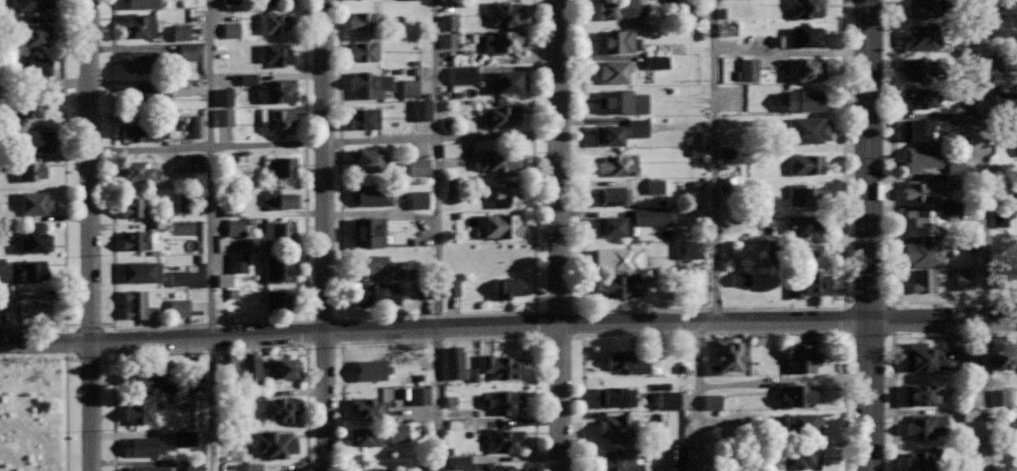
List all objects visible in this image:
building: (230, 1)
building: (142, 3)
building: (33, 4)
building: (807, 7)
building: (618, 8)
building: (925, 8)
building: (504, 12)
building: (364, 20)
building: (274, 21)
building: (138, 24)
building: (231, 30)
building: (726, 30)
building: (448, 31)
building: (180, 33)
building: (35, 34)
building: (805, 36)
building: (921, 37)
building: (620, 40)
building: (505, 41)
building: (364, 49)
building: (186, 51)
building: (275, 53)
building: (141, 60)
building: (657, 62)
building: (35, 67)
building: (803, 68)
building: (918, 68)
building: (616, 69)
building: (748, 69)
building: (462, 75)
building: (248, 80)
building: (509, 81)
building: (369, 84)
building: (178, 88)
building: (409, 88)
building: (276, 90)
building: (146, 96)
building: (223, 97)
building: (920, 97)
building: (622, 99)
building: (801, 99)
building: (29, 104)
building: (422, 110)
building: (502, 116)
building: (223, 117)
building: (364, 117)
building: (962, 118)
building: (277, 119)
building: (196, 126)
building: (637, 128)
building: (807, 128)
building: (923, 128)
building: (142, 131)
building: (609, 133)
building: (36, 140)
road: (323, 143)
building: (1016, 147)
building: (450, 151)
road: (532, 156)
building: (922, 157)
road: (339, 159)
building: (370, 159)
building: (495, 159)
road: (304, 160)
road: (715, 160)
road: (111, 161)
building: (194, 163)
building: (806, 163)
building: (621, 164)
building: (282, 165)
building: (29, 169)
building: (417, 169)
building: (138, 170)
building: (450, 185)
building: (655, 187)
building: (923, 189)
building: (505, 192)
road: (63, 194)
building: (375, 194)
building: (807, 194)
building: (613, 195)
building: (285, 200)
building: (418, 200)
building: (34, 201)
building: (135, 206)
building: (950, 207)
road: (890, 213)
building: (651, 218)
building: (1000, 221)
building: (924, 222)
building: (502, 224)
building: (806, 225)
building: (614, 226)
building: (234, 228)
building: (279, 231)
building: (370, 231)
road: (88, 235)
road: (211, 235)
road: (322, 235)
road: (438, 235)
road: (559, 235)
road: (869, 235)
road: (986, 235)
building: (136, 239)
building: (33, 241)
building: (770, 247)
building: (689, 250)
building: (925, 251)
building: (811, 254)
building: (620, 258)
building: (237, 264)
building: (370, 264)
building: (1, 267)
building: (281, 268)
building: (395, 268)
building: (28, 271)
building: (142, 271)
building: (178, 278)
building: (740, 280)
building: (925, 280)
building: (224, 281)
building: (964, 281)
building: (807, 282)
building: (693, 283)
building: (618, 286)
building: (451, 287)
building: (510, 287)
building: (379, 293)
building: (277, 299)
building: (135, 303)
building: (31, 308)
building: (178, 308)
road: (708, 311)
road: (440, 315)
road: (71, 324)
road: (201, 325)
road: (508, 326)
road: (64, 328)
road: (631, 334)
road: (503, 336)
road: (891, 341)
road: (338, 343)
road: (214, 349)
building: (727, 353)
building: (800, 357)
building: (923, 357)
building: (454, 361)
building: (626, 361)
building: (997, 363)
building: (228, 366)
building: (251, 366)
building: (502, 366)
building: (286, 367)
building: (374, 370)
building: (143, 374)
building: (473, 375)
road: (32, 384)
building: (798, 392)
building: (922, 393)
building: (615, 395)
building: (419, 396)
road: (698, 396)
building: (999, 398)
building: (504, 400)
building: (184, 401)
building: (711, 402)
road: (844, 402)
road: (581, 403)
building: (668, 403)
road: (340, 407)
building: (369, 407)
building: (282, 408)
building: (141, 410)
road: (65, 412)
building: (971, 415)
building: (801, 423)
building: (1013, 424)
building: (926, 425)
building: (618, 426)
building: (398, 434)
building: (241, 435)
building: (364, 435)
building: (502, 435)
building: (184, 438)
building: (276, 443)
building: (145, 445)
building: (671, 457)
building: (801, 457)
building: (924, 457)
building: (619, 460)
building: (460, 462)
building: (193, 466)
building: (253, 466)
building: (424, 466)
building: (149, 467)
building: (494, 467)
building: (280, 469)
building: (380, 469)

